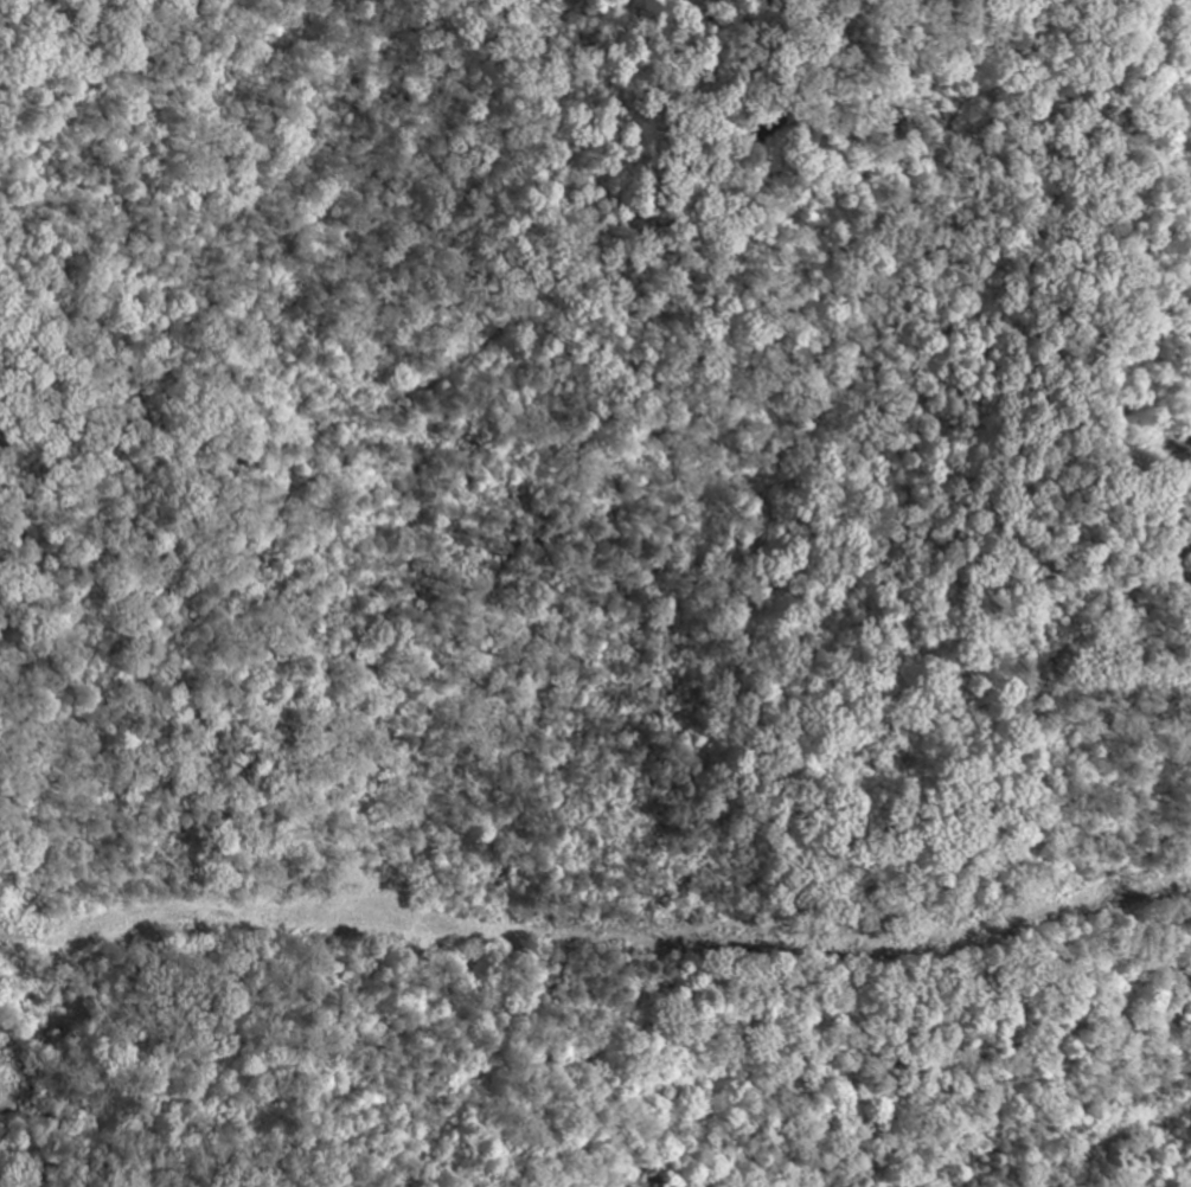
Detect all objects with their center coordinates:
road: (1063, 97)

